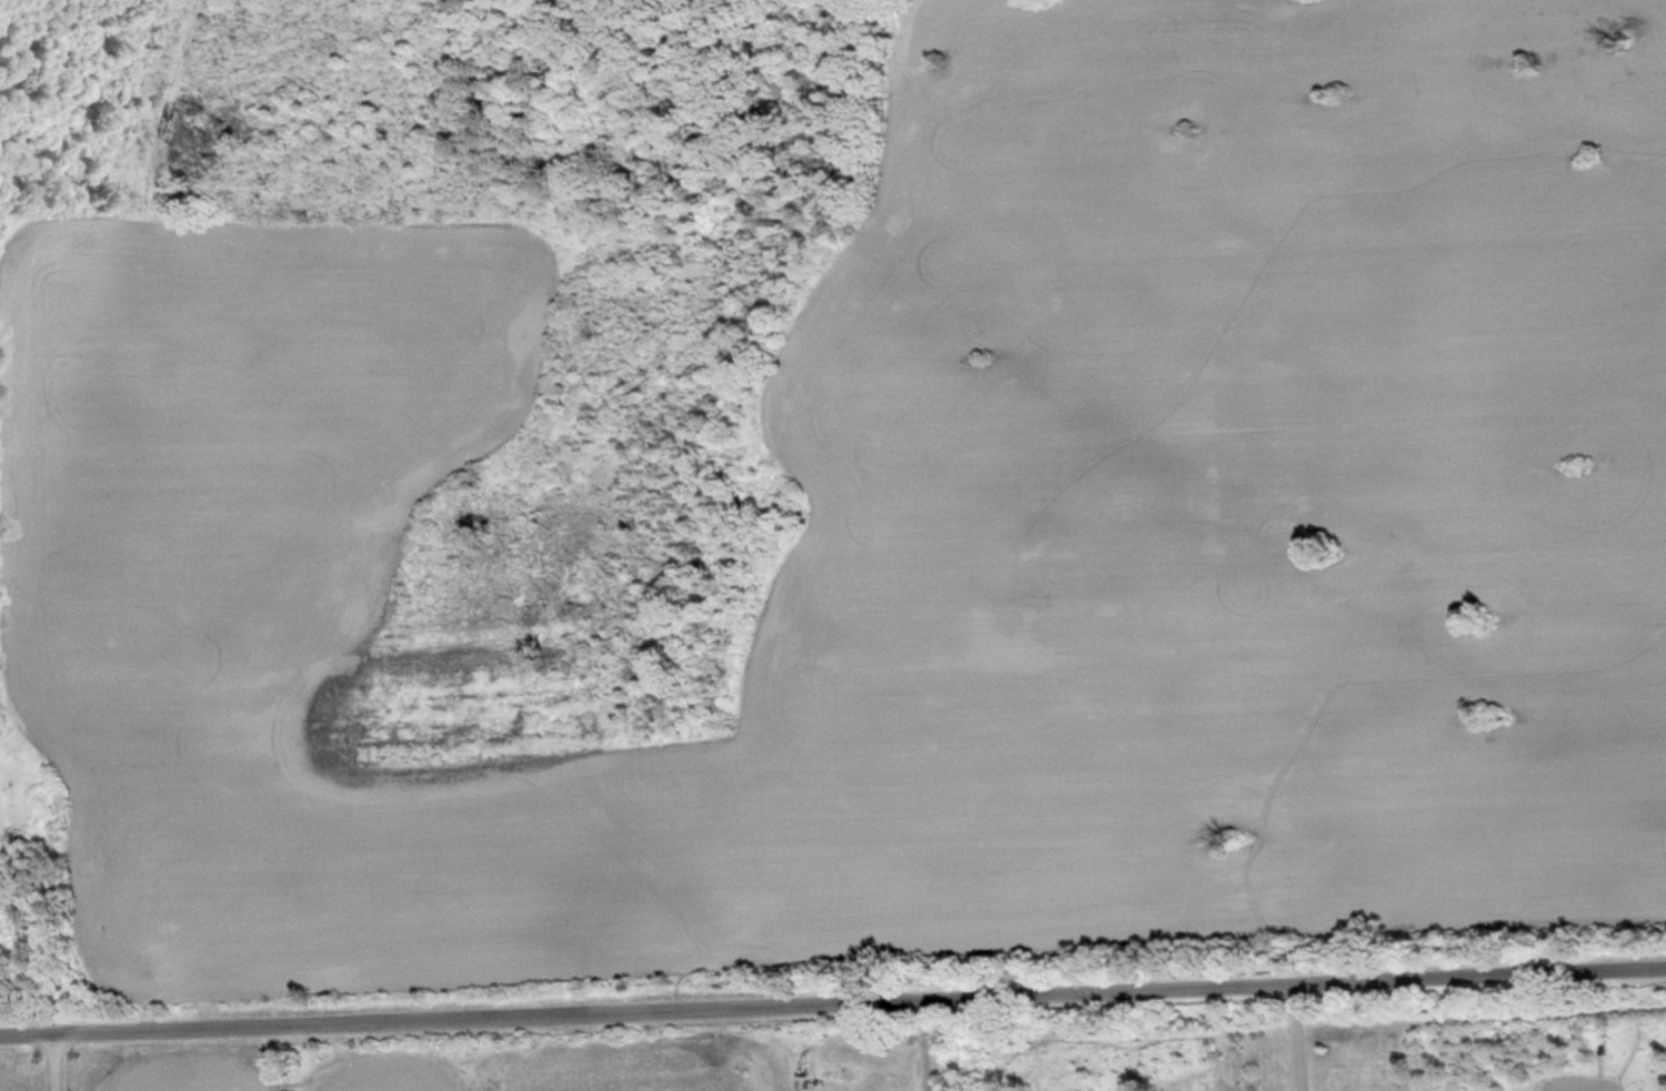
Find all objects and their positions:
road: (832, 1001)
road: (1288, 1037)
road: (54, 1061)

